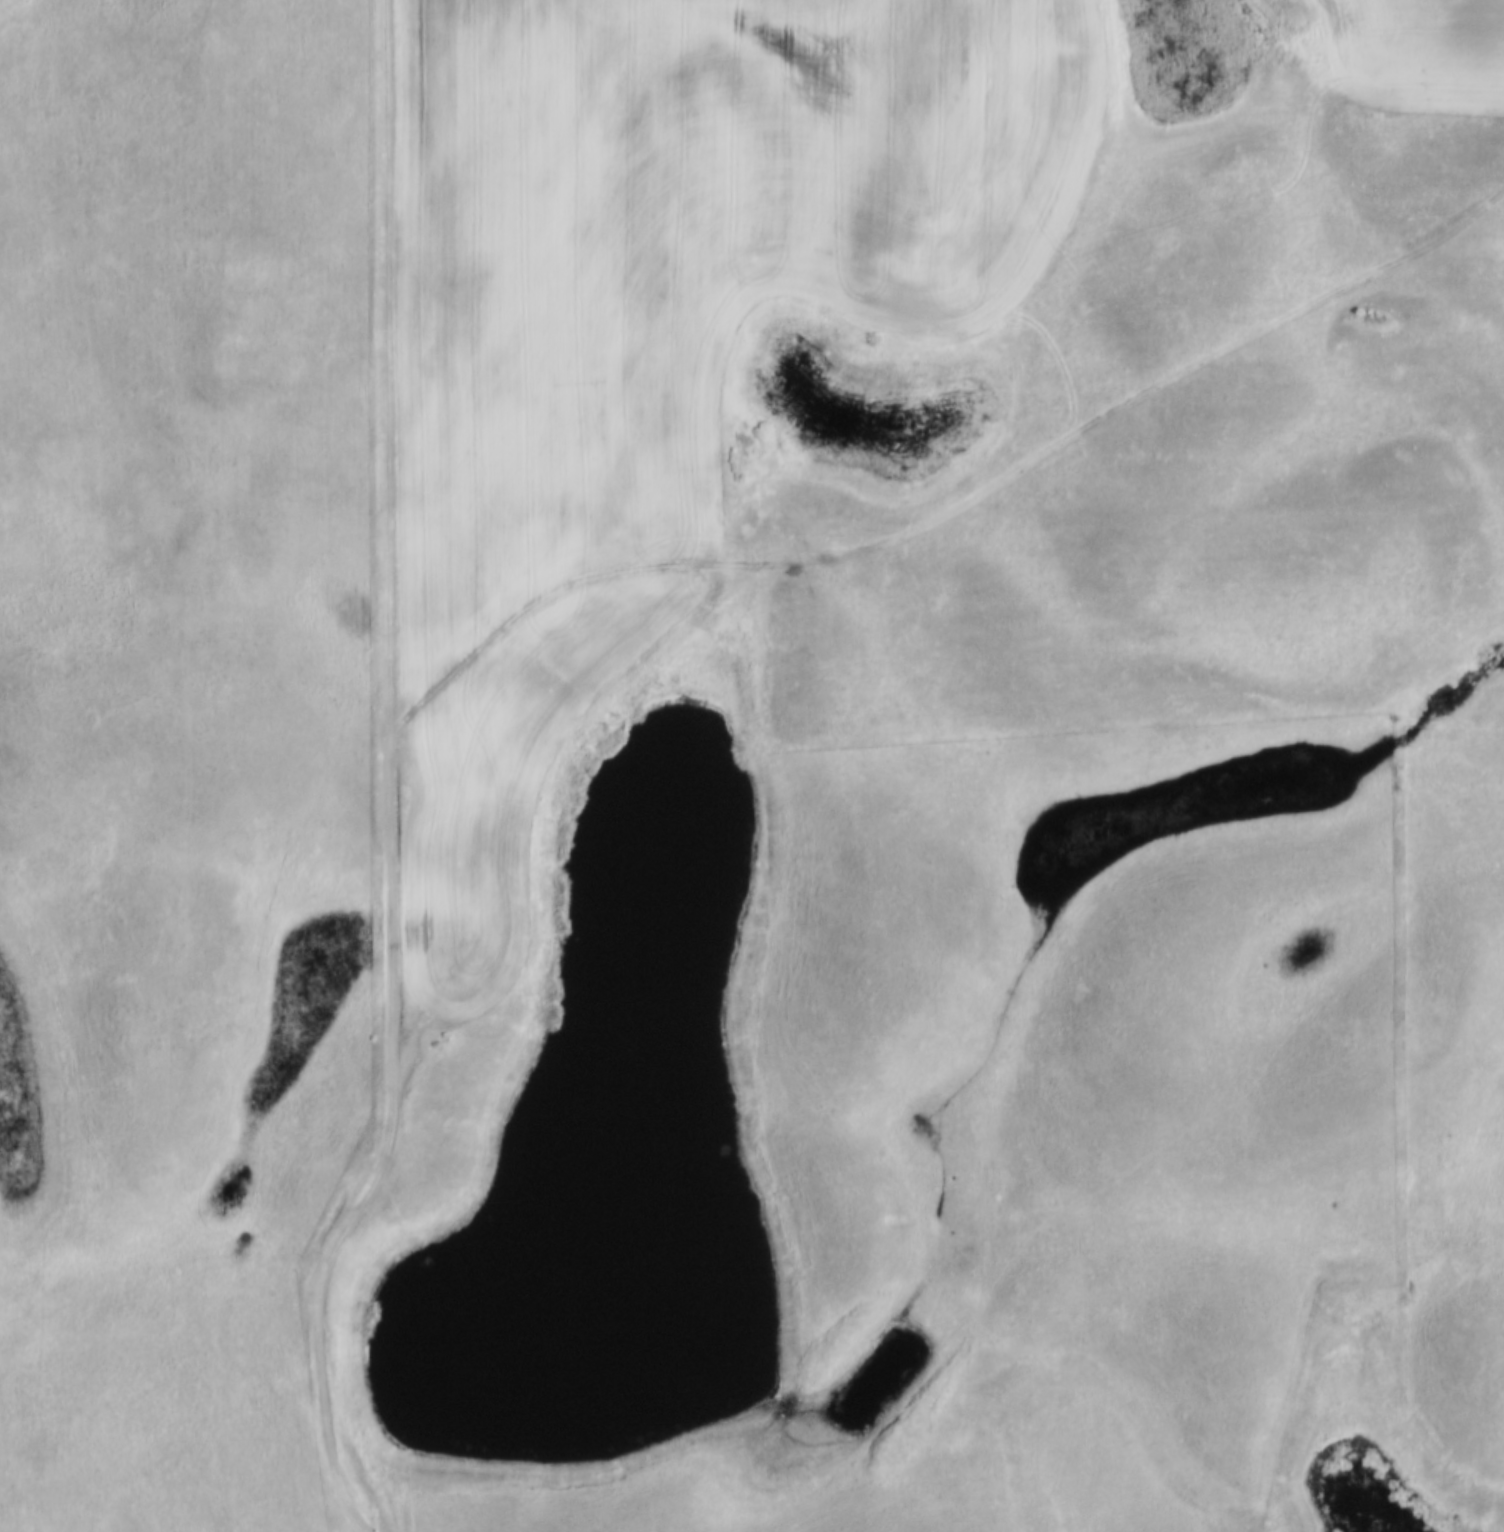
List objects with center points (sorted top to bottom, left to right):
road: (389, 779)

